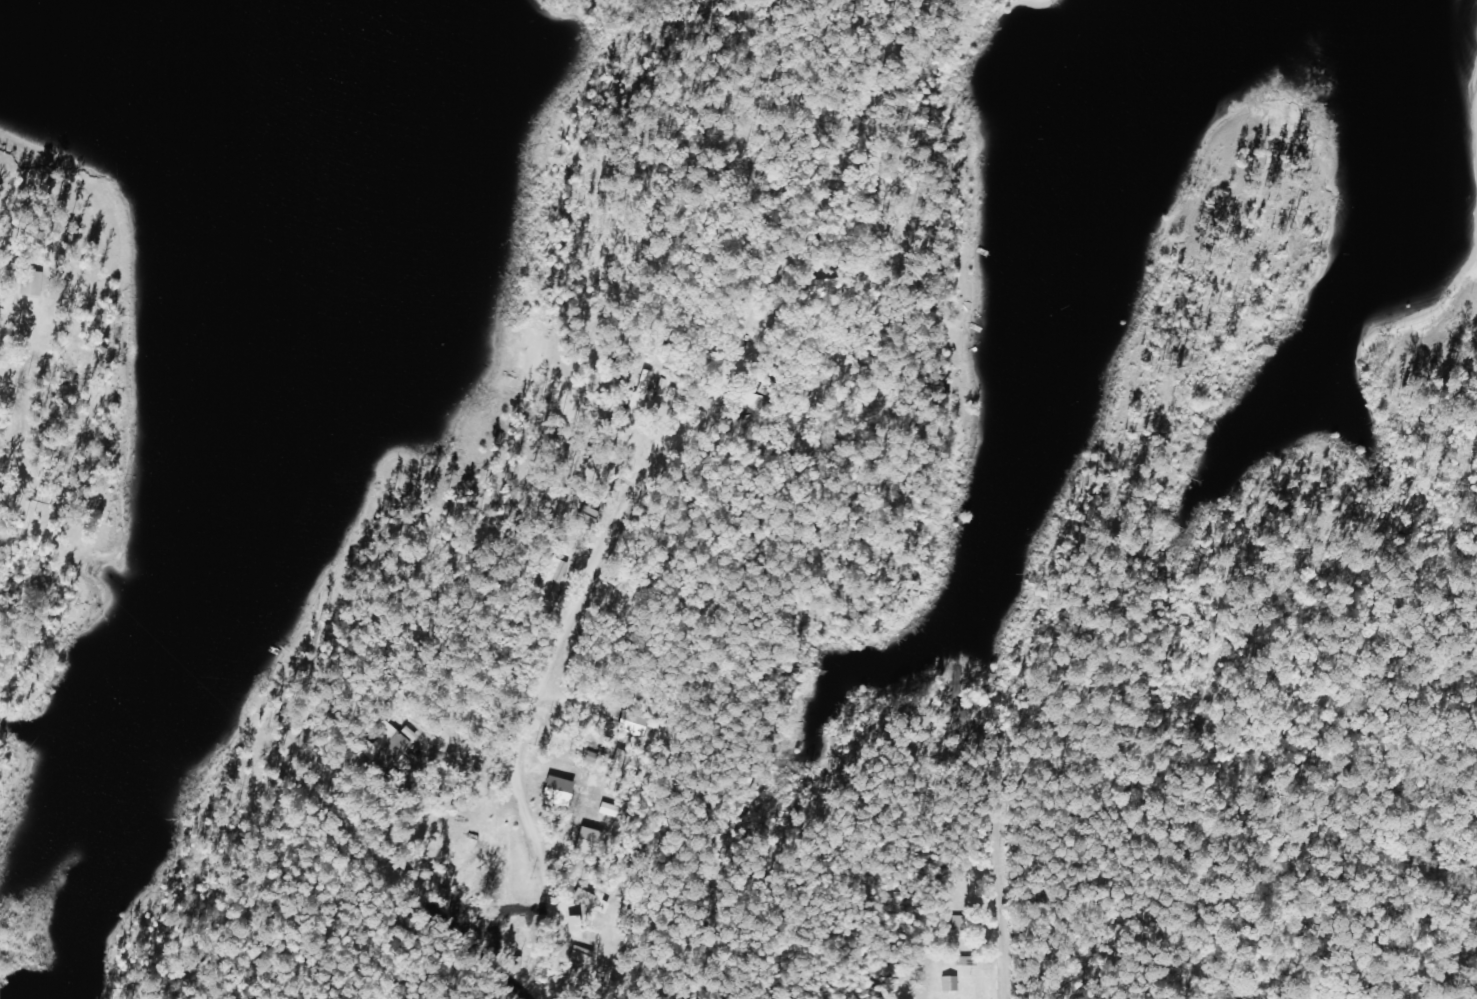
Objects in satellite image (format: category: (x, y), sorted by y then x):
building: (33, 283)
road: (706, 501)
building: (553, 585)
building: (635, 725)
building: (397, 752)
building: (628, 762)
building: (558, 791)
building: (590, 841)
road: (1004, 885)
building: (952, 983)

